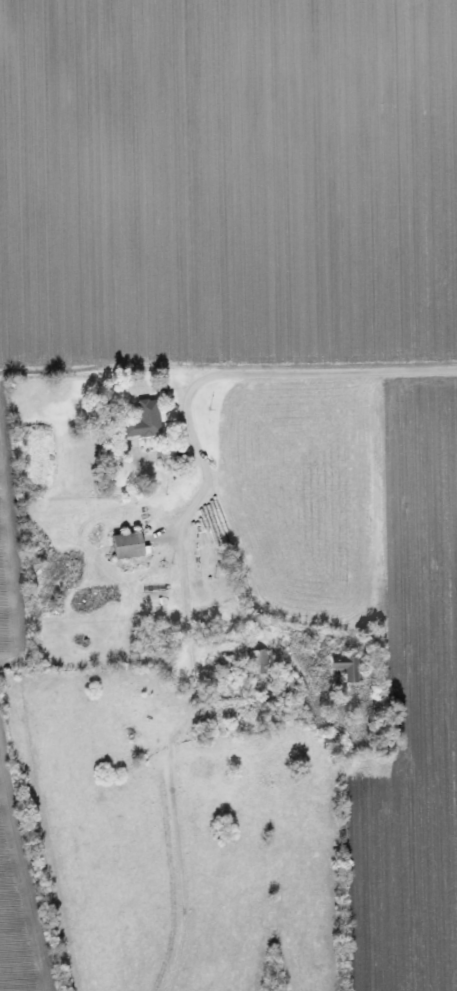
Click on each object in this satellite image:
road: (180, 409)
building: (144, 420)
building: (130, 545)
building: (255, 660)
building: (348, 666)
road: (174, 843)

